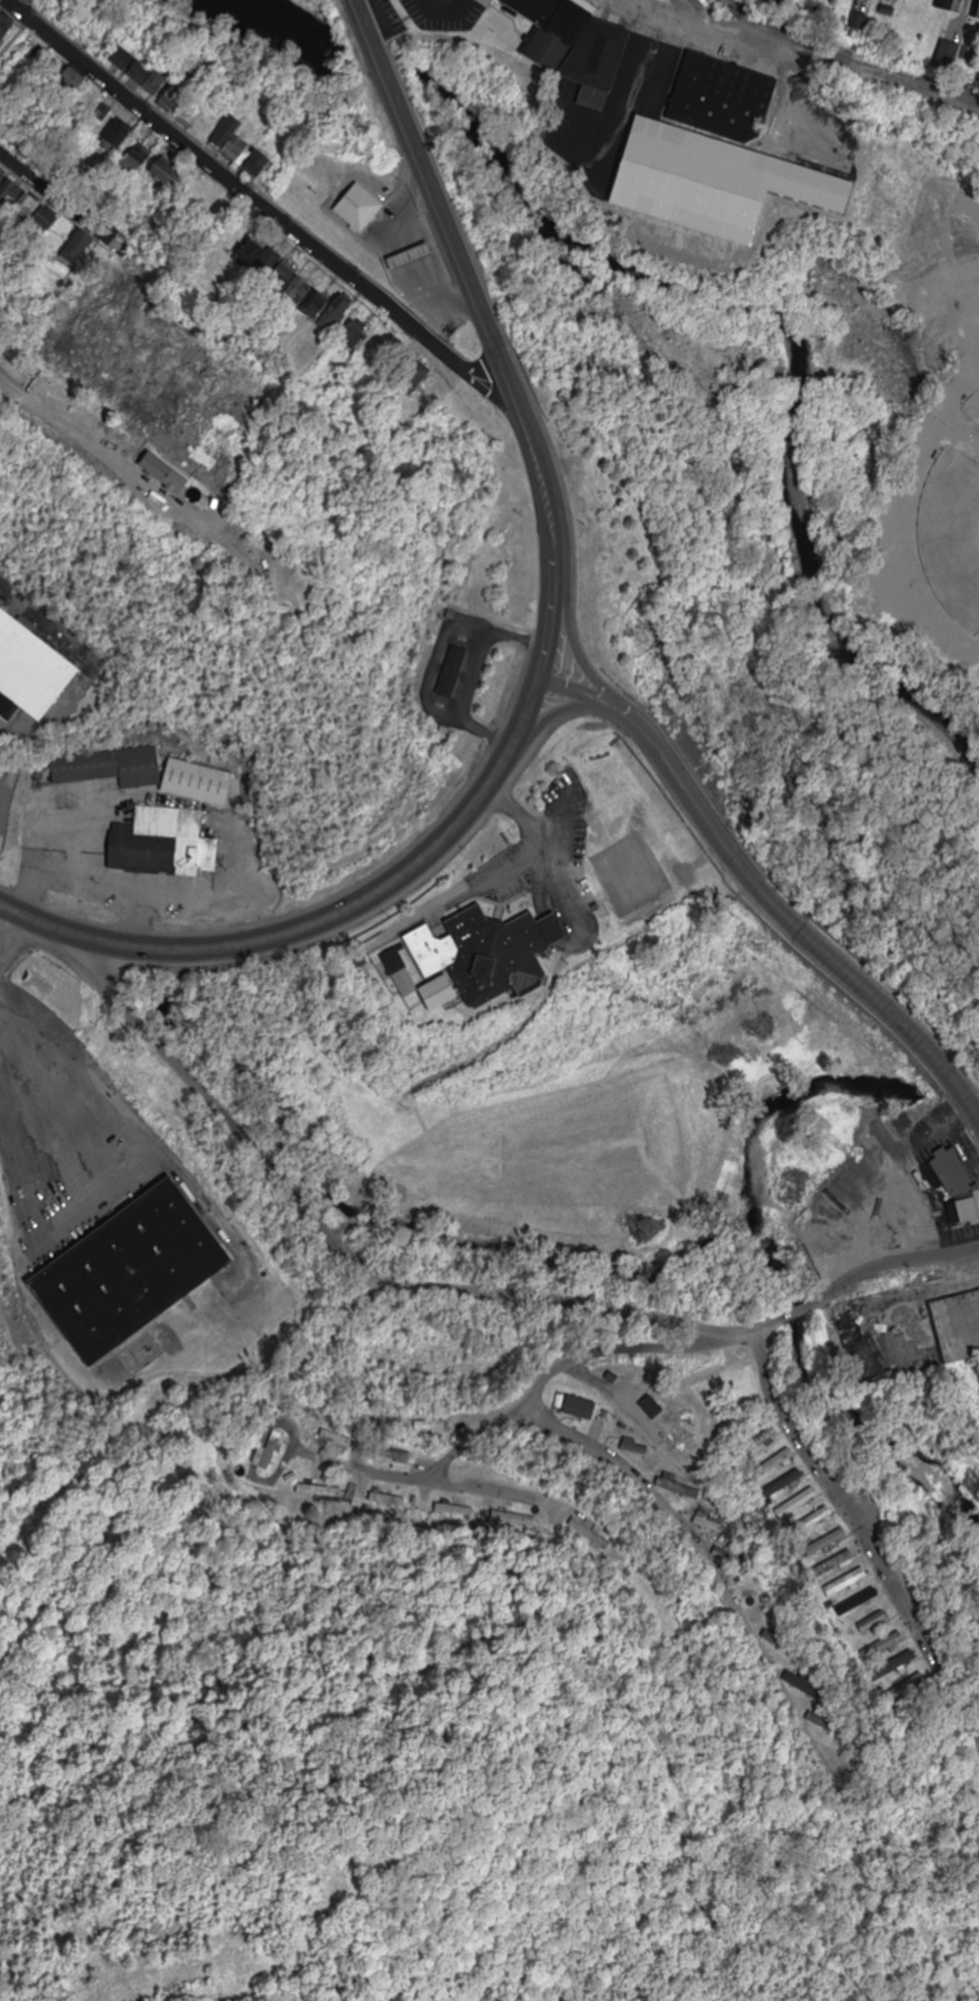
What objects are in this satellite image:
building: (549, 29)
road: (16, 40)
railway: (847, 63)
building: (723, 99)
road: (54, 194)
building: (353, 204)
road: (264, 209)
building: (403, 255)
gas station: (403, 255)
park: (942, 265)
road: (467, 284)
road: (10, 385)
road: (957, 387)
park: (971, 413)
road: (107, 458)
park: (956, 523)
park: (952, 538)
building: (0, 597)
road: (549, 629)
road: (573, 644)
building: (30, 668)
building: (451, 674)
road: (565, 690)
road: (600, 702)
road: (528, 706)
road: (554, 710)
road: (618, 712)
building: (110, 767)
building: (199, 782)
building: (164, 843)
road: (767, 901)
road: (8, 928)
road: (297, 930)
building: (490, 953)
building: (398, 958)
building: (411, 981)
building: (441, 993)
road: (943, 1069)
road: (966, 1099)
road: (33, 1104)
road: (347, 1264)
road: (887, 1266)
building: (132, 1272)
road: (796, 1313)
building: (913, 1328)
road: (479, 1438)
road: (406, 1479)
road: (640, 1486)
road: (844, 1493)
road: (524, 1677)

